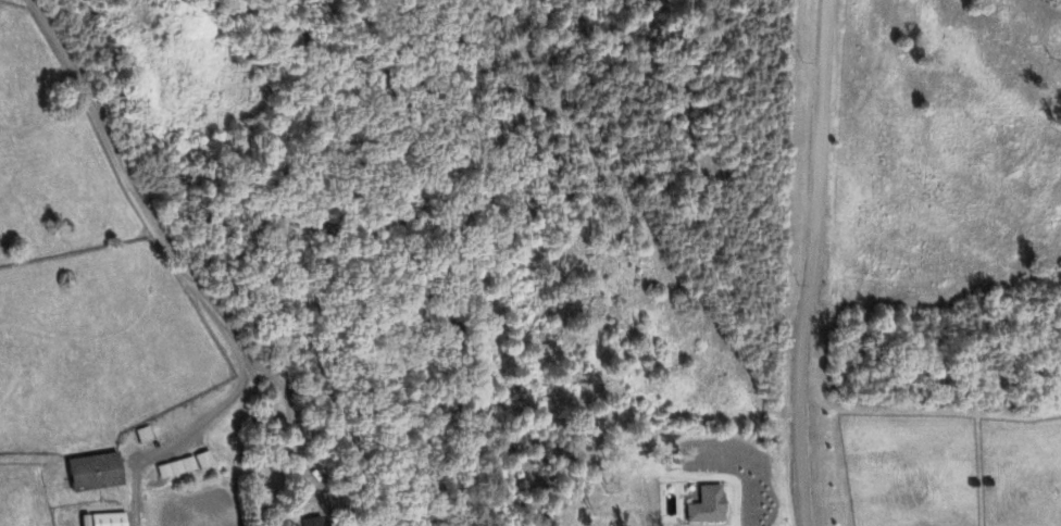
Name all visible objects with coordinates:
road: (167, 248)
road: (811, 262)
road: (295, 412)
building: (143, 436)
building: (184, 467)
building: (91, 474)
building: (707, 506)
building: (102, 521)
building: (312, 523)

